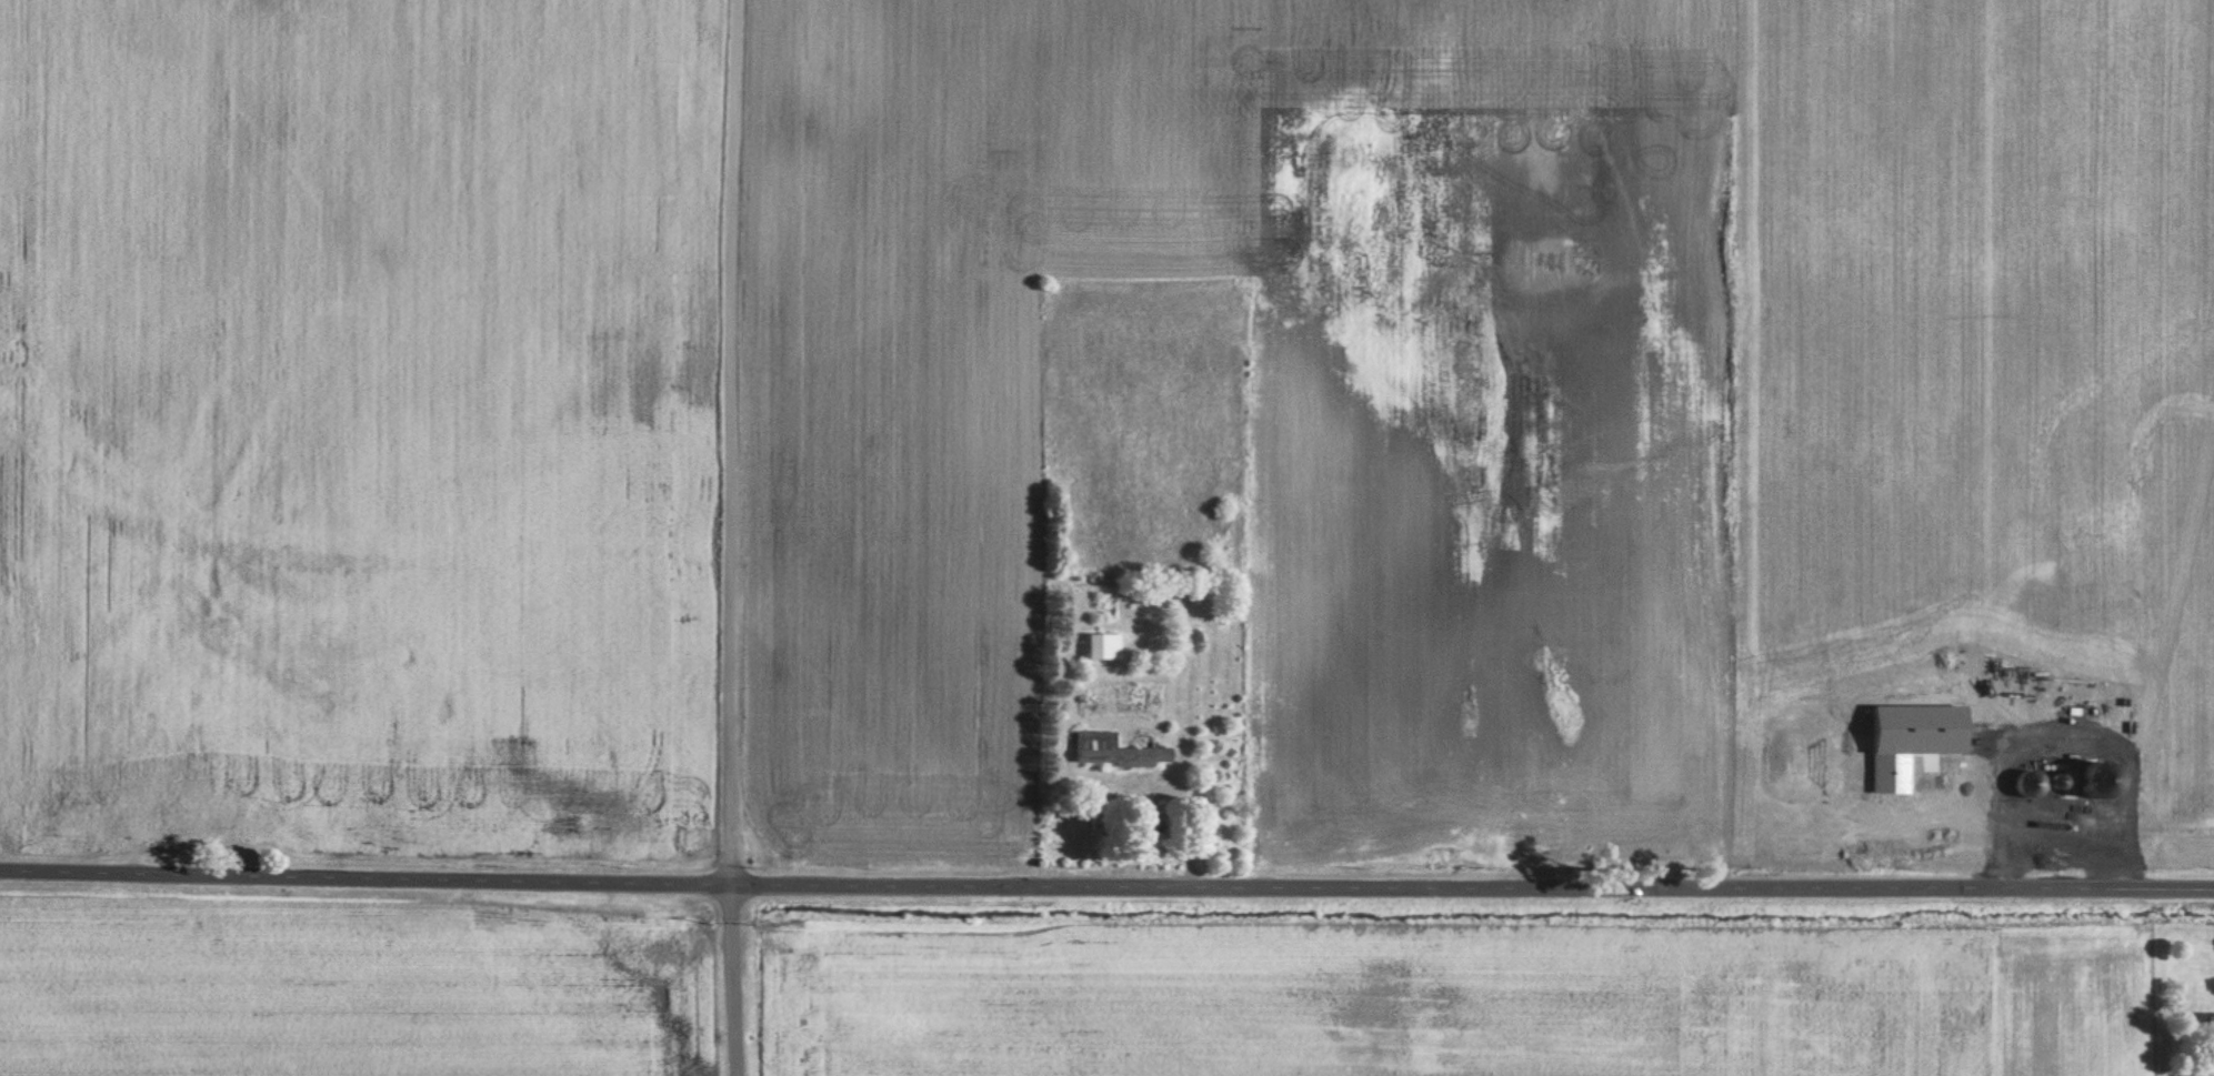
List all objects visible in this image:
road: (742, 537)
building: (1106, 646)
road: (2068, 745)
building: (1119, 751)
road: (2066, 846)
road: (1106, 888)

